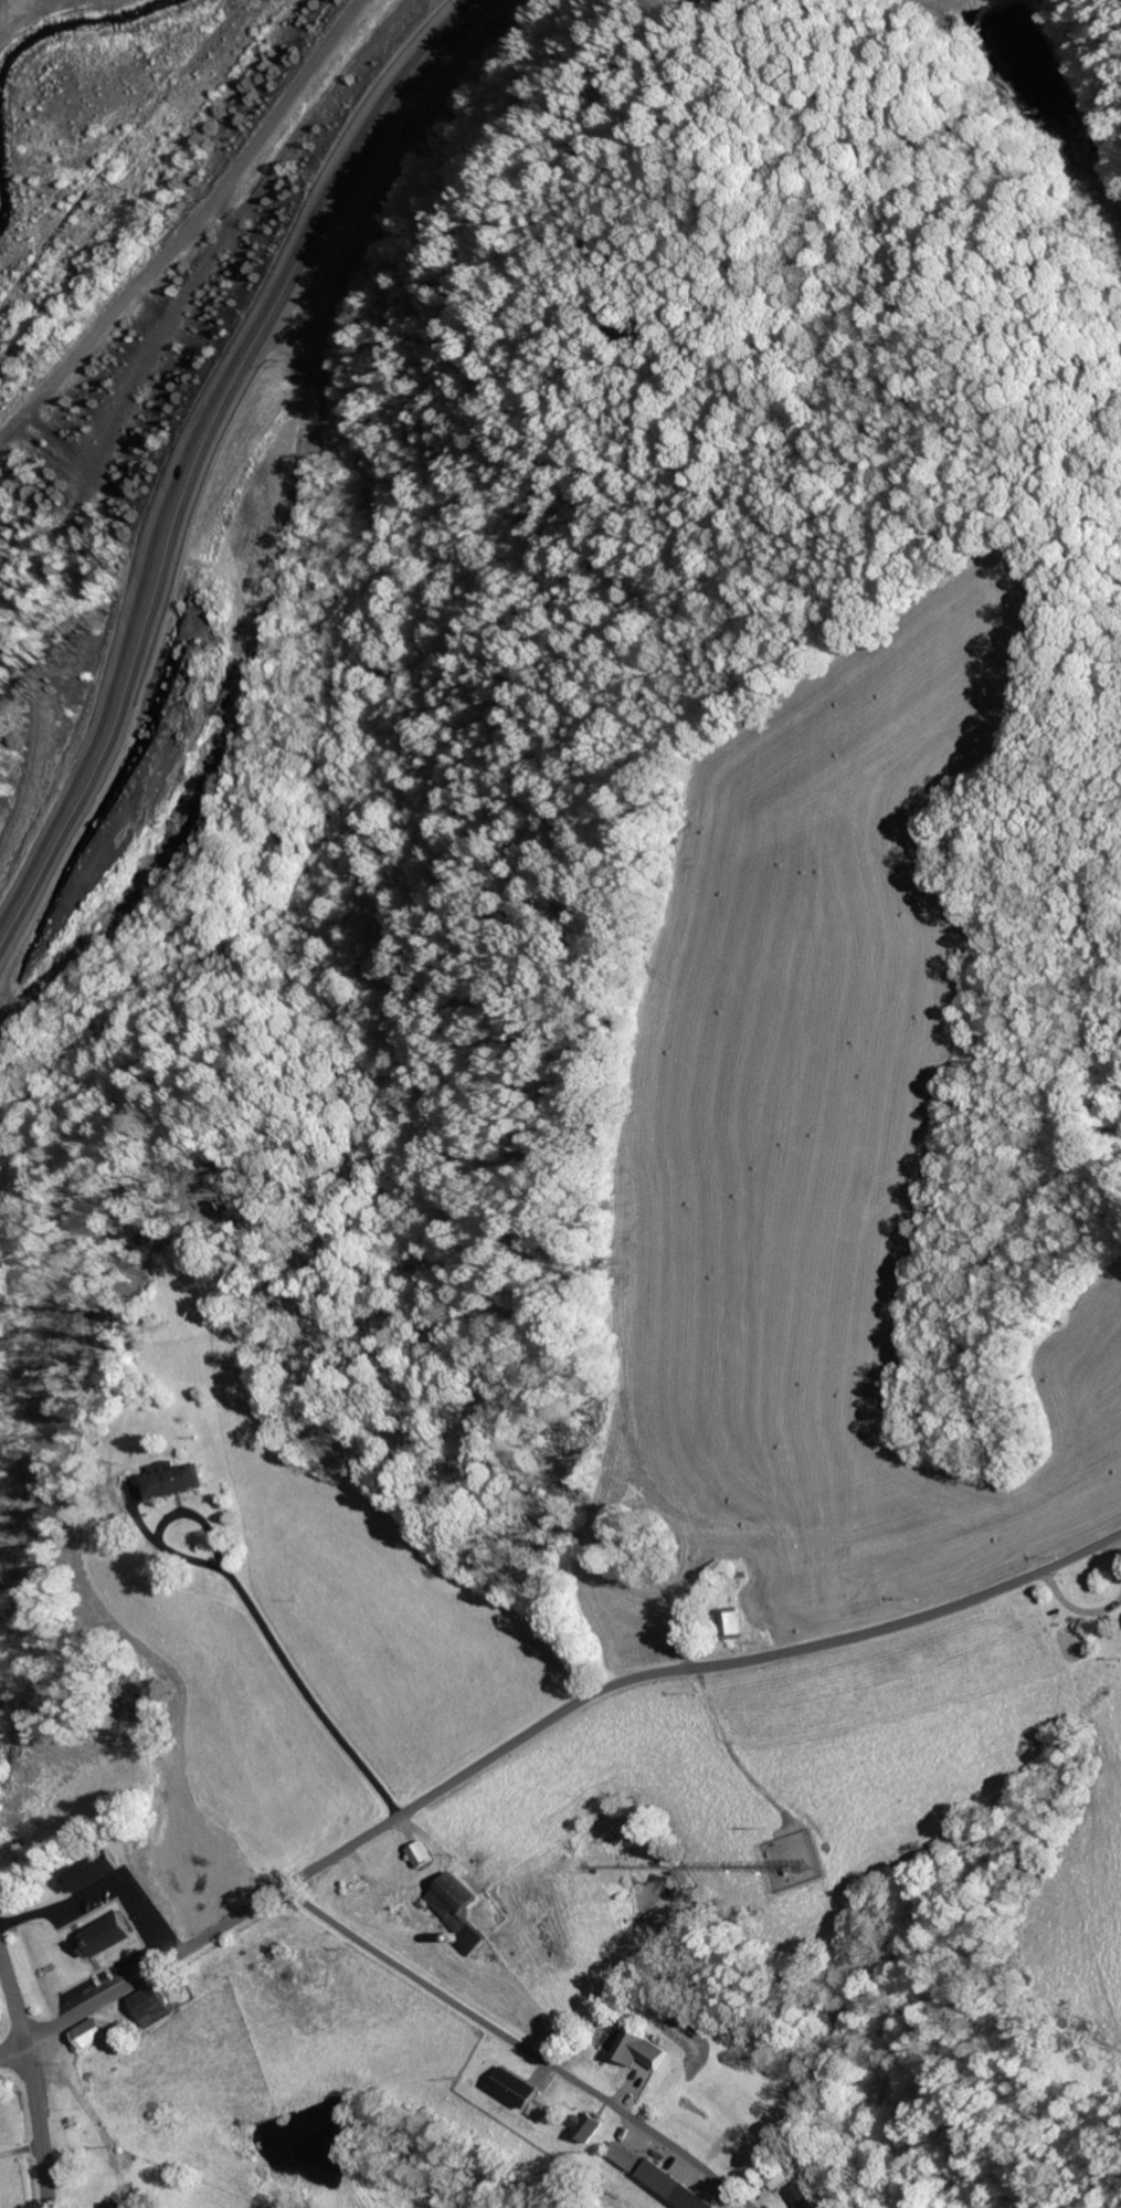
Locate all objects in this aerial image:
road: (220, 197)
road: (28, 411)
road: (219, 442)
building: (171, 1481)
building: (728, 1623)
road: (544, 1723)
building: (419, 1854)
building: (86, 1873)
road: (105, 1885)
building: (456, 1912)
parking lot: (158, 1936)
building: (102, 1937)
building: (149, 2007)
building: (85, 2036)
road: (527, 2048)
road: (13, 2049)
building: (637, 2050)
road: (33, 2079)
building: (511, 2088)
building: (583, 2127)
building: (621, 2157)
building: (668, 2187)
building: (799, 2197)
building: (117, 2205)

